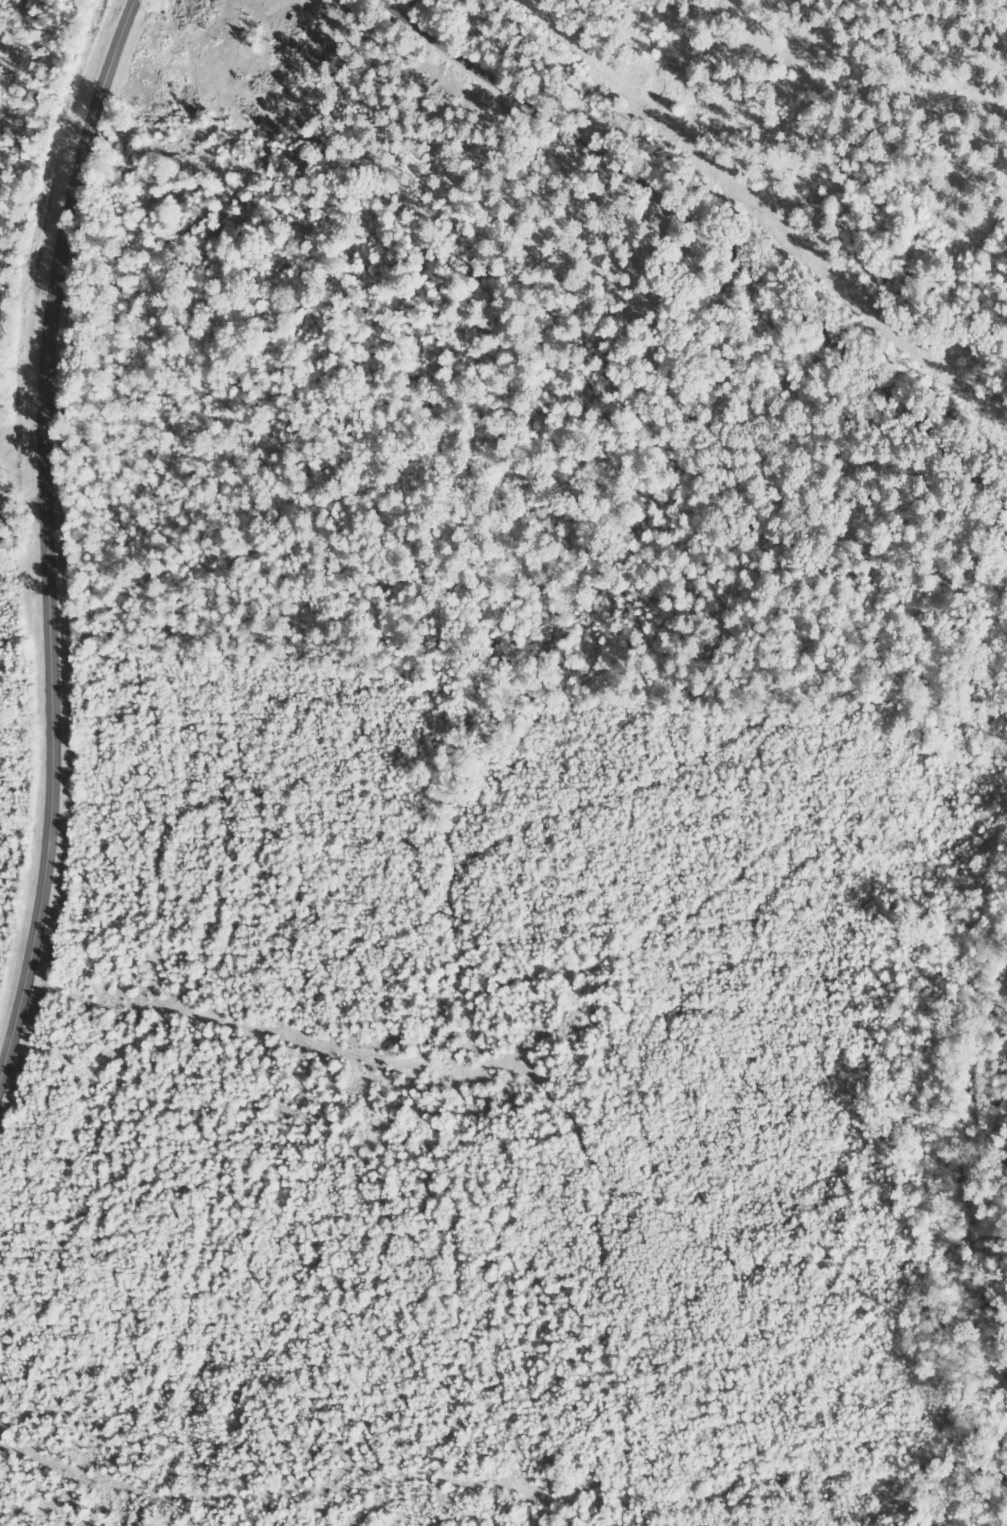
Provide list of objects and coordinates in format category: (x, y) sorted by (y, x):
road: (677, 261)
road: (47, 536)

